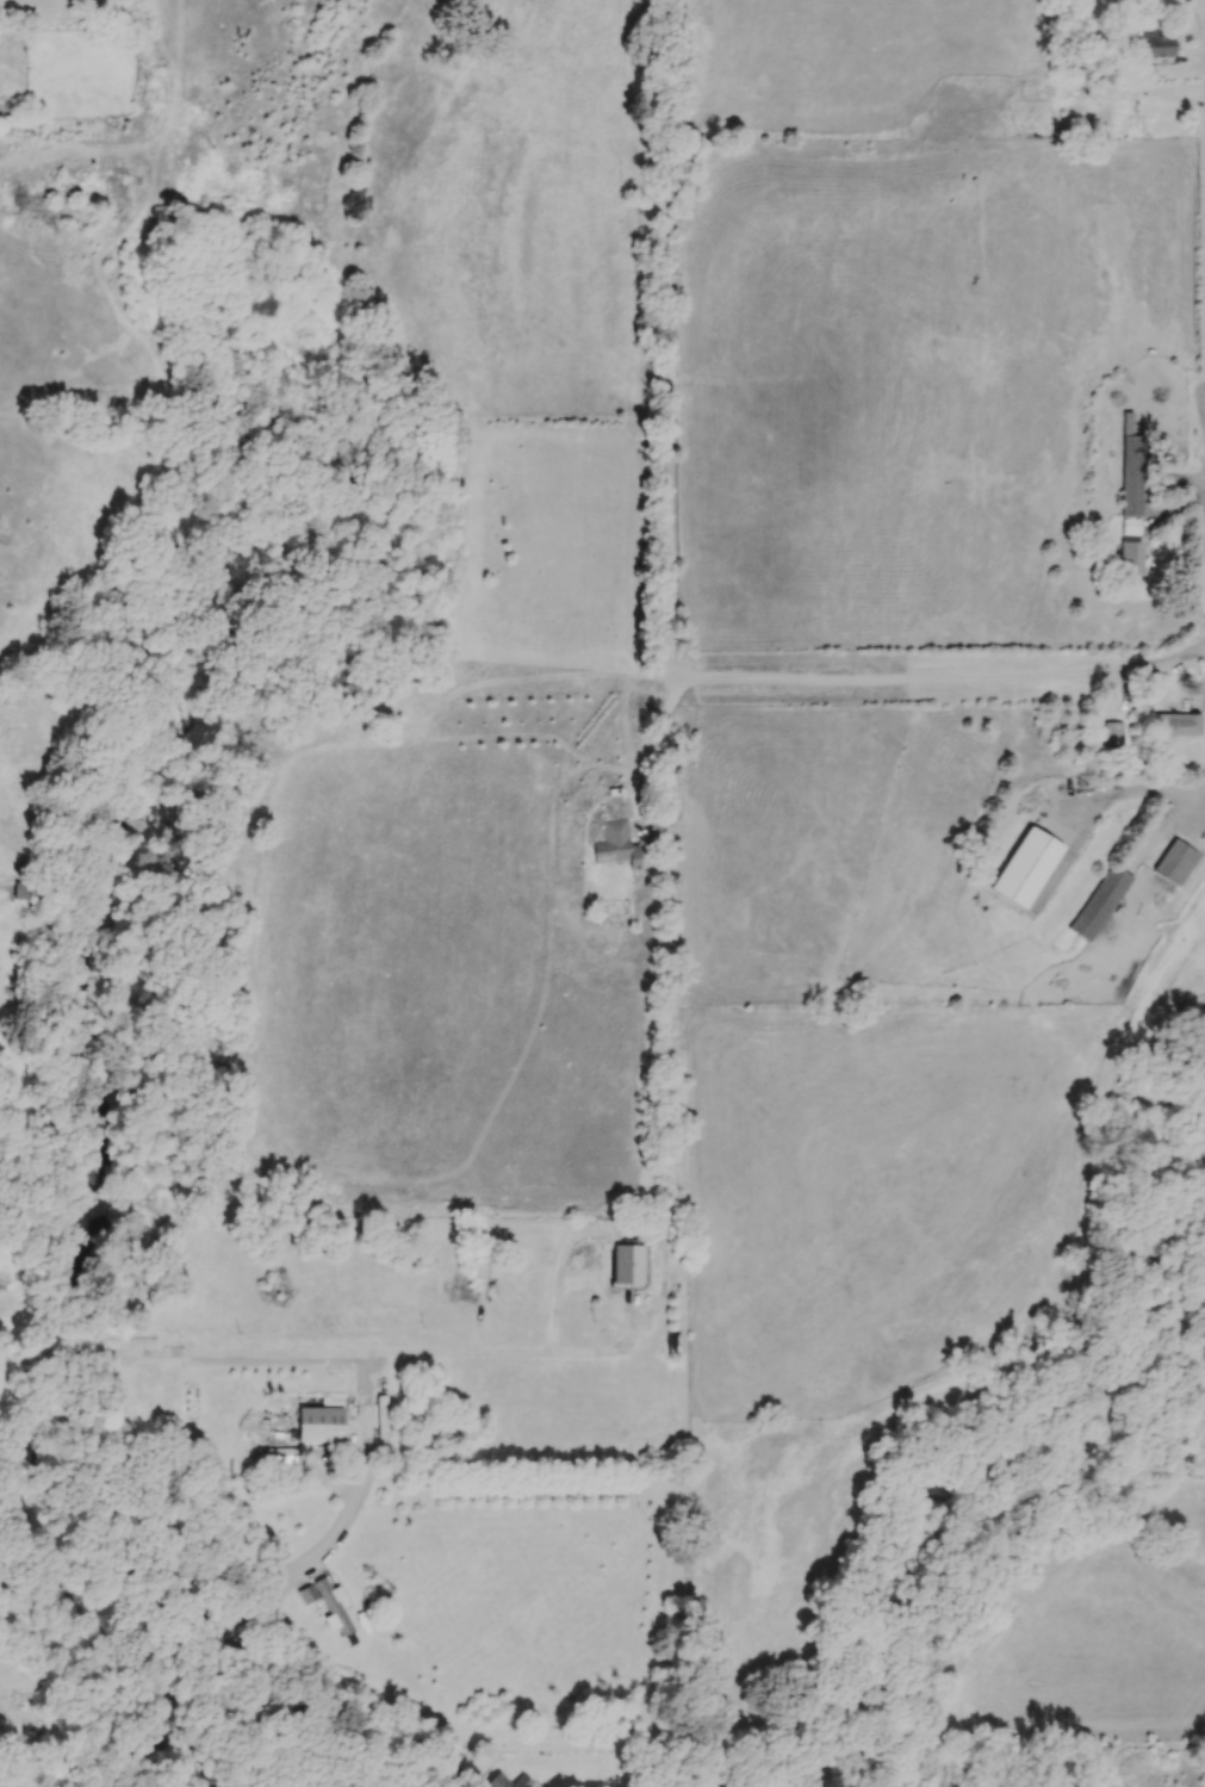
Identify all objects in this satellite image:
building: (1157, 46)
building: (1130, 477)
building: (1130, 556)
road: (876, 666)
building: (1176, 724)
building: (1112, 733)
road: (1133, 787)
building: (614, 844)
building: (1174, 861)
building: (1025, 865)
building: (20, 889)
building: (1100, 901)
building: (486, 1261)
building: (627, 1262)
road: (495, 1349)
road: (235, 1355)
road: (29, 1357)
road: (79, 1358)
building: (381, 1415)
building: (319, 1422)
building: (325, 1601)
building: (255, 1696)
road: (1138, 1731)
power tower: (1159, 1737)
building: (522, 1781)

